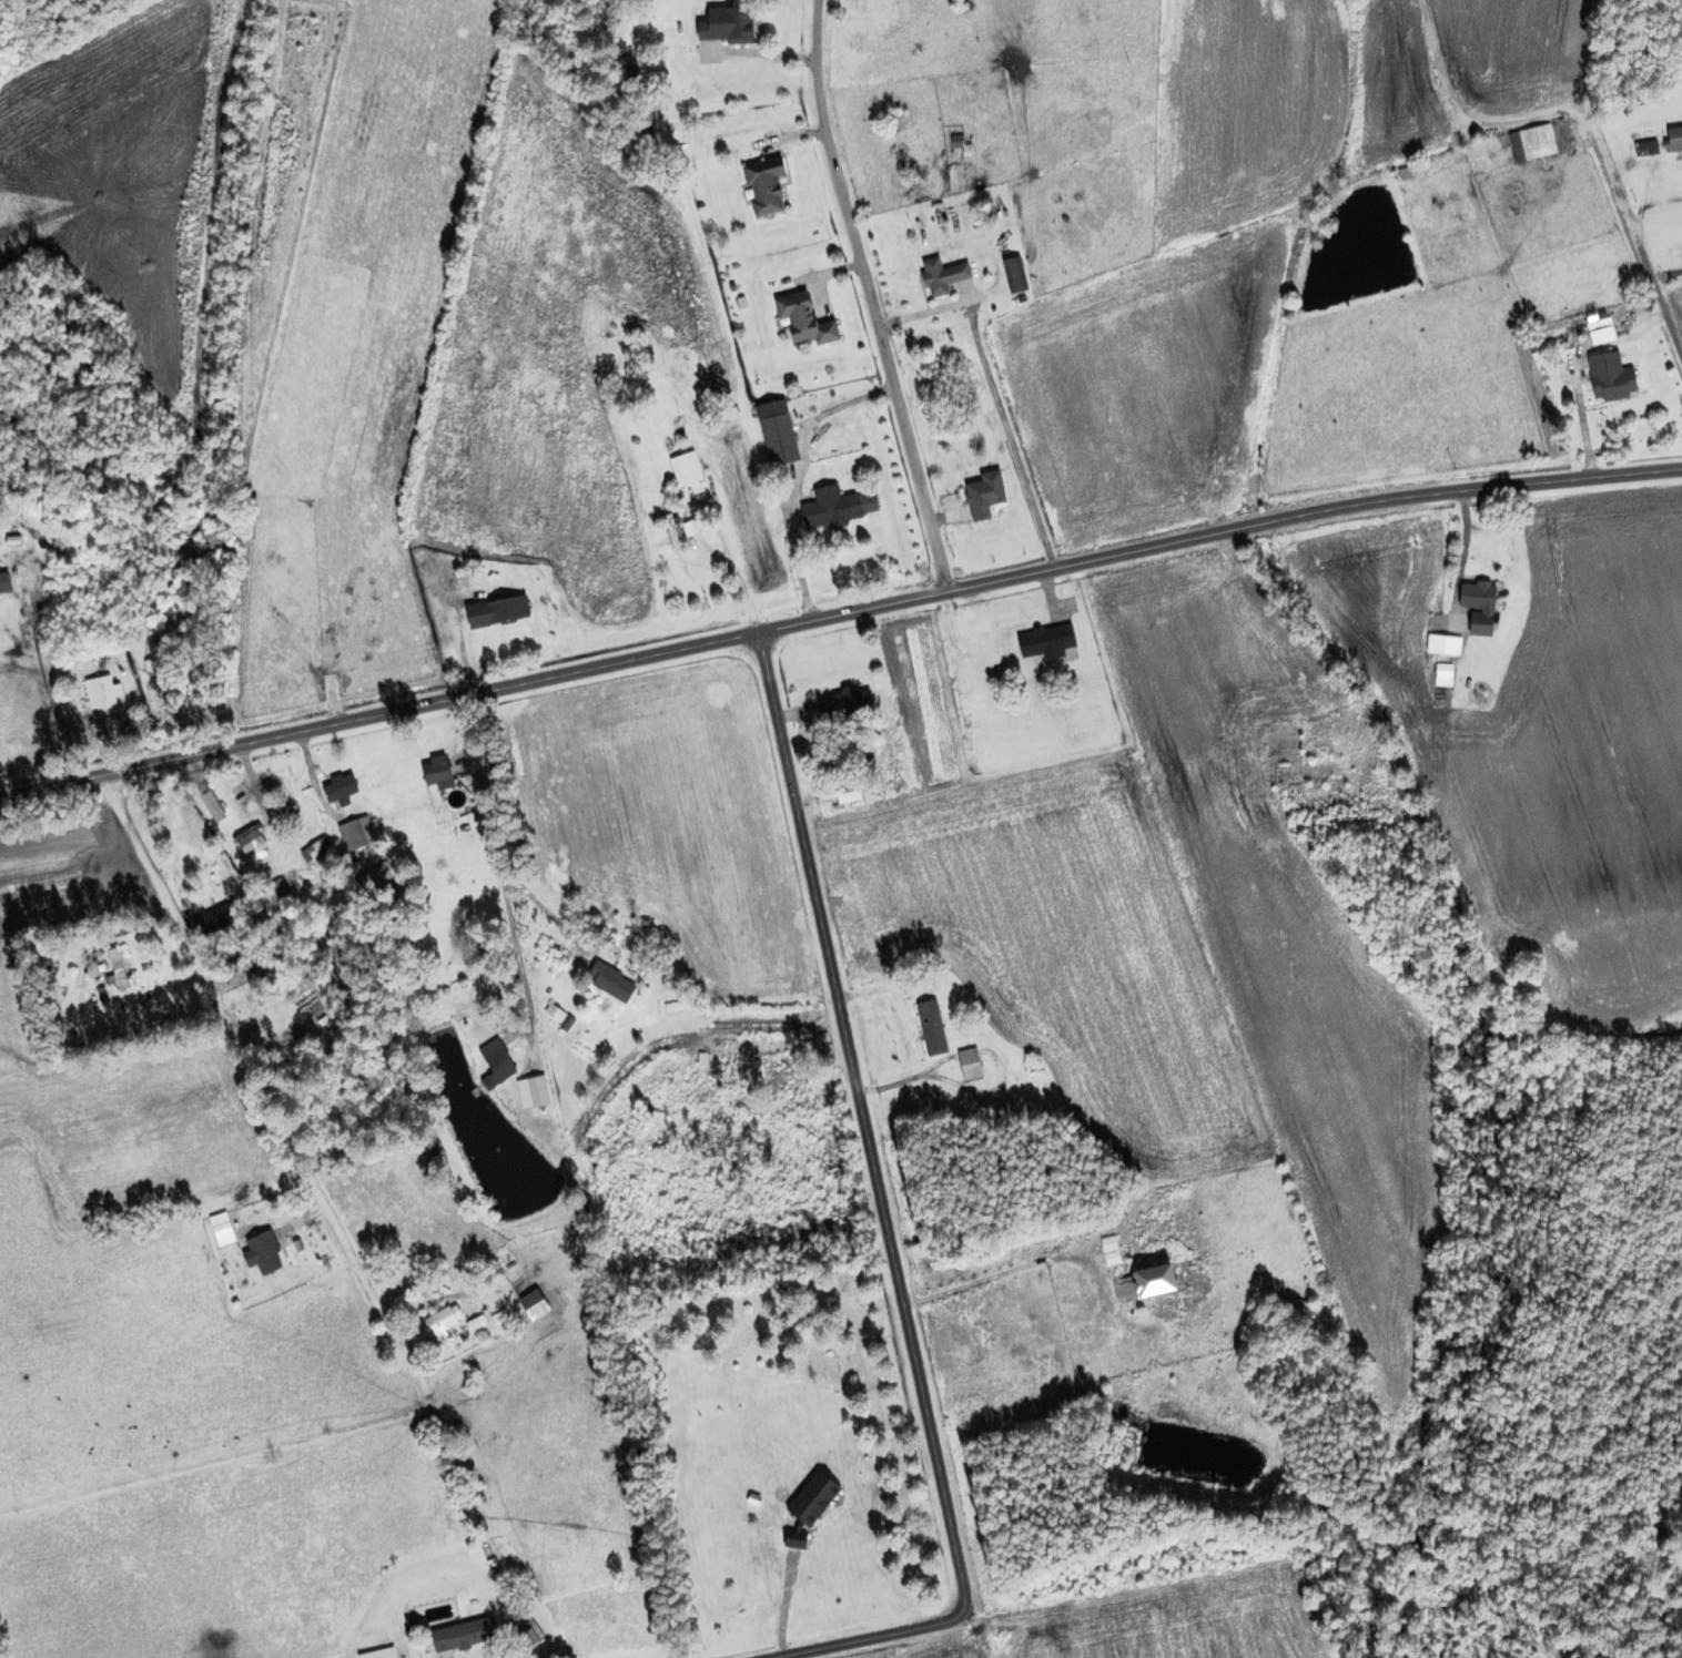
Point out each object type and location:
building: (719, 24)
road: (1443, 121)
building: (1671, 140)
building: (1528, 143)
building: (759, 186)
road: (1605, 203)
building: (1010, 275)
building: (938, 276)
road: (872, 298)
building: (799, 321)
building: (1605, 378)
building: (670, 383)
building: (773, 439)
building: (681, 469)
road: (797, 476)
building: (979, 495)
building: (832, 507)
building: (3, 583)
road: (762, 587)
building: (1472, 607)
building: (490, 612)
road: (829, 620)
building: (1035, 643)
building: (1439, 645)
building: (1439, 675)
road: (69, 677)
building: (1379, 696)
building: (839, 705)
building: (428, 772)
building: (333, 790)
building: (840, 794)
road: (373, 801)
road: (414, 802)
building: (206, 806)
building: (278, 816)
building: (349, 834)
building: (245, 846)
building: (311, 851)
building: (364, 883)
building: (272, 894)
building: (114, 967)
building: (604, 983)
building: (926, 1029)
building: (492, 1061)
road: (122, 1062)
building: (964, 1066)
building: (527, 1092)
road: (1635, 1122)
road: (869, 1151)
building: (216, 1230)
building: (256, 1253)
road: (995, 1274)
building: (1143, 1283)
building: (527, 1306)
building: (436, 1321)
building: (472, 1325)
building: (521, 1636)
building: (455, 1637)
road: (842, 1644)

